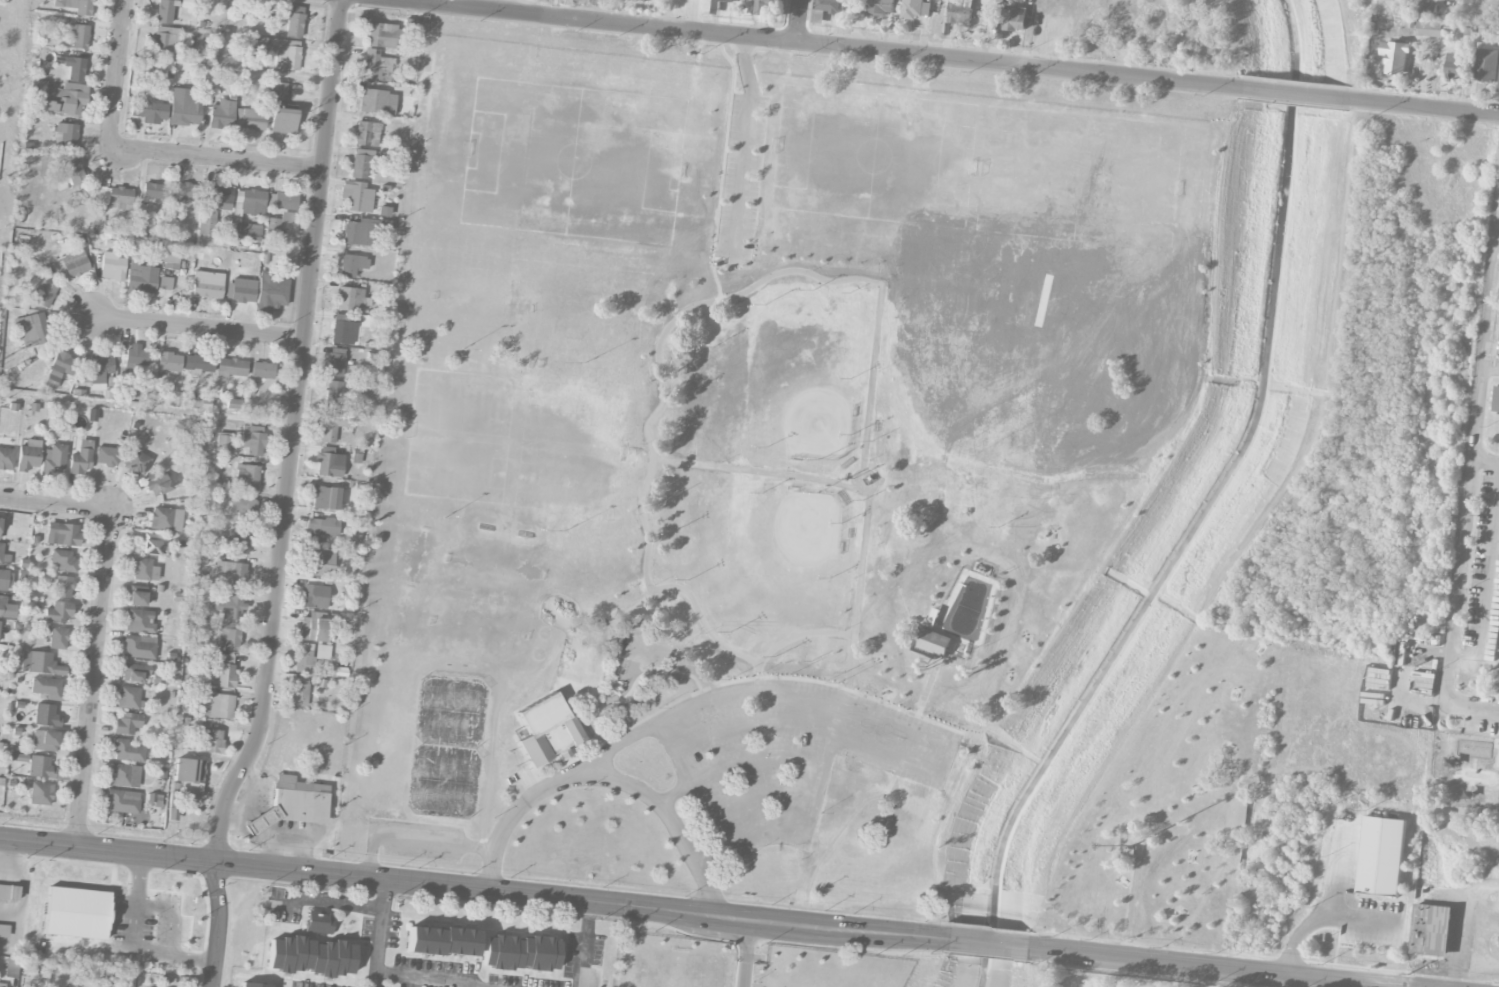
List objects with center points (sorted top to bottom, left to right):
building: (742, 0)
building: (828, 5)
building: (75, 6)
building: (764, 6)
building: (716, 7)
building: (881, 7)
building: (915, 9)
building: (1427, 9)
building: (164, 12)
building: (960, 13)
building: (1015, 18)
road: (800, 21)
building: (293, 22)
building: (1429, 29)
building: (382, 35)
building: (79, 37)
building: (164, 41)
road: (808, 44)
building: (287, 55)
building: (1395, 58)
building: (1454, 63)
building: (1486, 65)
building: (376, 66)
building: (74, 69)
road: (117, 76)
building: (1498, 88)
building: (37, 89)
building: (277, 92)
road: (1294, 93)
building: (66, 100)
building: (372, 102)
road: (1421, 105)
building: (184, 108)
building: (148, 110)
building: (222, 115)
building: (252, 119)
building: (282, 121)
building: (67, 134)
building: (366, 134)
road: (745, 144)
park: (873, 156)
road: (216, 161)
park: (571, 162)
building: (360, 163)
road: (722, 166)
building: (74, 172)
power tower: (6, 176)
parking lot: (740, 176)
park: (1079, 179)
building: (154, 191)
building: (356, 196)
building: (119, 197)
building: (219, 198)
building: (285, 201)
building: (250, 202)
building: (207, 221)
building: (278, 222)
road: (1498, 227)
building: (249, 232)
building: (170, 260)
building: (74, 264)
building: (351, 265)
building: (112, 267)
building: (142, 277)
road: (764, 278)
building: (165, 284)
building: (207, 285)
building: (241, 290)
building: (270, 293)
building: (43, 294)
building: (349, 299)
road: (197, 329)
building: (30, 330)
building: (342, 333)
building: (135, 357)
building: (334, 362)
building: (198, 363)
building: (167, 364)
building: (61, 367)
building: (230, 368)
road: (1490, 368)
building: (100, 370)
building: (262, 370)
park: (775, 377)
building: (332, 394)
building: (1496, 399)
building: (233, 404)
building: (331, 426)
road: (293, 434)
building: (252, 440)
building: (222, 442)
park: (516, 443)
building: (28, 456)
building: (106, 457)
building: (6, 459)
building: (81, 459)
building: (54, 460)
building: (135, 463)
building: (329, 463)
building: (248, 476)
park: (902, 482)
road: (1468, 484)
building: (157, 485)
building: (324, 498)
road: (57, 505)
building: (243, 510)
building: (165, 519)
building: (0, 524)
building: (321, 529)
building: (62, 534)
building: (237, 542)
building: (152, 545)
park: (768, 545)
building: (3, 557)
road: (1487, 557)
building: (63, 560)
building: (320, 564)
building: (143, 570)
building: (230, 574)
building: (5, 580)
road: (859, 581)
building: (63, 587)
building: (314, 597)
building: (136, 599)
building: (230, 607)
building: (7, 610)
building: (58, 613)
building: (139, 622)
building: (312, 627)
road: (794, 635)
building: (231, 637)
building: (58, 638)
building: (935, 642)
road: (566, 646)
building: (139, 647)
park: (580, 654)
building: (303, 658)
building: (39, 663)
building: (225, 671)
building: (134, 672)
road: (641, 672)
road: (94, 679)
road: (592, 679)
road: (734, 682)
building: (46, 687)
building: (298, 692)
building: (127, 698)
building: (218, 707)
building: (45, 716)
building: (127, 724)
road: (807, 727)
building: (545, 730)
road: (897, 730)
road: (833, 736)
building: (44, 741)
building: (208, 741)
park: (447, 745)
building: (126, 751)
parking lot: (788, 754)
road: (754, 758)
building: (43, 769)
building: (124, 776)
road: (603, 776)
building: (185, 783)
road: (885, 790)
road: (673, 793)
road: (759, 793)
building: (40, 794)
building: (122, 802)
building: (299, 805)
building: (261, 820)
road: (412, 839)
parking lot: (415, 839)
building: (1129, 851)
building: (1381, 856)
road: (1344, 863)
road: (473, 888)
building: (8, 893)
road: (331, 902)
building: (76, 913)
road: (1323, 915)
road: (221, 923)
building: (318, 923)
road: (1463, 923)
building: (4, 930)
building: (1431, 930)
road: (378, 933)
building: (441, 942)
road: (134, 943)
road: (988, 943)
road: (586, 944)
road: (746, 952)
building: (519, 953)
building: (310, 957)
road: (1211, 967)
road: (422, 980)
building: (3, 985)
building: (252, 985)

